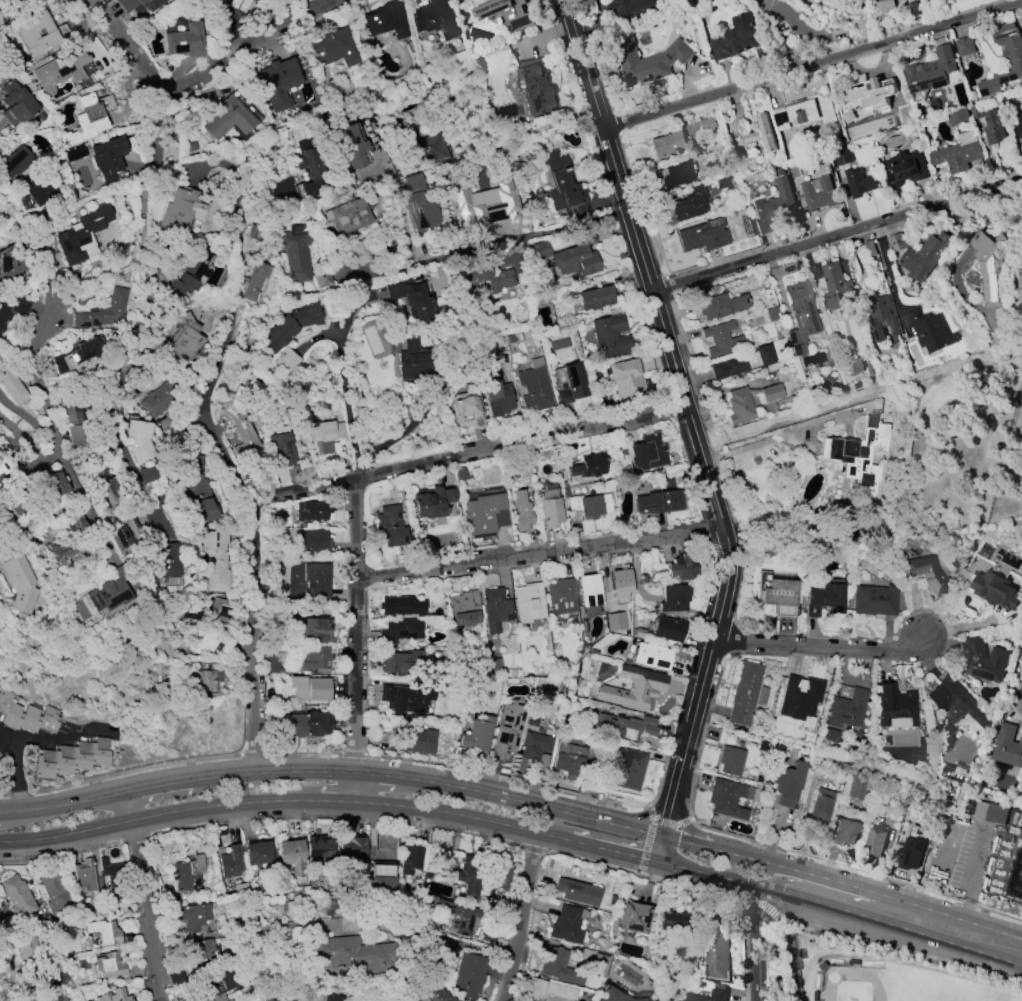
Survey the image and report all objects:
building: (1, 0)
building: (19, 2)
building: (141, 4)
building: (886, 4)
building: (238, 5)
building: (631, 9)
building: (507, 13)
building: (435, 18)
building: (385, 21)
road: (803, 29)
building: (38, 33)
building: (736, 38)
building: (184, 41)
building: (965, 47)
building: (333, 49)
building: (1014, 59)
building: (648, 60)
road: (813, 68)
building: (59, 70)
building: (930, 72)
road: (203, 77)
building: (279, 81)
building: (536, 86)
building: (871, 95)
building: (16, 103)
building: (805, 112)
building: (230, 117)
building: (958, 117)
building: (88, 119)
building: (1020, 123)
building: (993, 127)
building: (765, 134)
building: (669, 144)
building: (352, 146)
building: (427, 148)
building: (73, 153)
building: (958, 153)
building: (842, 156)
building: (108, 158)
building: (15, 162)
building: (905, 169)
building: (311, 172)
building: (676, 175)
building: (860, 184)
building: (564, 186)
building: (39, 188)
building: (819, 194)
building: (775, 200)
building: (421, 203)
building: (690, 204)
building: (474, 207)
building: (178, 209)
building: (348, 215)
building: (81, 235)
road: (523, 236)
building: (703, 236)
road: (838, 238)
building: (542, 250)
building: (296, 253)
building: (924, 256)
building: (577, 258)
building: (11, 263)
building: (988, 264)
road: (240, 270)
road: (42, 271)
building: (191, 274)
building: (324, 278)
building: (488, 278)
building: (254, 280)
building: (837, 284)
building: (411, 297)
building: (596, 298)
building: (720, 305)
building: (12, 311)
building: (102, 312)
building: (801, 315)
road: (351, 316)
building: (883, 319)
building: (292, 326)
building: (933, 332)
building: (611, 336)
building: (181, 339)
building: (721, 339)
building: (78, 354)
building: (290, 360)
building: (742, 362)
building: (416, 363)
building: (856, 366)
road: (40, 378)
building: (626, 379)
building: (571, 383)
building: (10, 385)
building: (534, 387)
building: (496, 393)
building: (162, 398)
road: (348, 406)
building: (740, 407)
building: (467, 410)
road: (205, 417)
road: (687, 417)
building: (74, 426)
road: (107, 426)
building: (243, 433)
road: (790, 435)
building: (326, 436)
road: (809, 438)
building: (140, 441)
building: (284, 449)
building: (856, 453)
building: (648, 454)
building: (586, 467)
building: (0, 472)
road: (20, 472)
building: (147, 474)
road: (339, 482)
building: (52, 485)
building: (104, 486)
building: (199, 493)
building: (432, 502)
building: (658, 503)
building: (589, 505)
building: (549, 506)
road: (82, 508)
building: (451, 509)
building: (313, 511)
building: (521, 511)
building: (485, 514)
building: (70, 525)
building: (391, 526)
building: (125, 532)
building: (314, 541)
building: (53, 553)
road: (539, 559)
building: (167, 560)
building: (216, 560)
building: (681, 568)
building: (927, 574)
building: (318, 580)
building: (619, 581)
building: (13, 584)
building: (997, 589)
building: (104, 590)
building: (589, 594)
building: (779, 596)
building: (560, 597)
building: (825, 597)
building: (674, 598)
building: (875, 600)
building: (528, 602)
building: (400, 606)
building: (464, 608)
building: (495, 609)
building: (204, 610)
building: (617, 621)
building: (315, 629)
building: (400, 631)
building: (666, 631)
building: (206, 640)
road: (355, 640)
road: (821, 650)
building: (651, 656)
building: (316, 658)
building: (984, 661)
building: (272, 662)
building: (400, 663)
building: (155, 673)
building: (205, 681)
building: (630, 687)
building: (309, 688)
building: (744, 693)
building: (406, 698)
building: (800, 698)
building: (956, 703)
building: (894, 706)
building: (846, 709)
building: (26, 715)
building: (628, 726)
building: (286, 728)
building: (507, 730)
road: (4, 734)
building: (476, 734)
building: (829, 735)
road: (25, 740)
building: (413, 742)
building: (1008, 747)
building: (536, 749)
building: (0, 758)
building: (70, 758)
building: (570, 760)
building: (730, 760)
building: (629, 768)
building: (957, 774)
road: (395, 778)
building: (857, 782)
building: (788, 783)
building: (726, 798)
building: (821, 806)
road: (395, 807)
road: (62, 808)
road: (127, 808)
road: (654, 813)
building: (991, 813)
road: (685, 819)
building: (845, 832)
road: (65, 837)
traffic signals: (662, 838)
building: (876, 842)
building: (317, 848)
building: (350, 850)
road: (659, 851)
building: (258, 853)
building: (913, 853)
building: (290, 856)
building: (408, 860)
building: (230, 862)
traffic signals: (656, 864)
building: (188, 874)
building: (470, 874)
building: (84, 876)
road: (976, 877)
building: (1015, 877)
building: (378, 881)
road: (842, 886)
building: (577, 891)
building: (55, 894)
building: (17, 897)
road: (855, 898)
road: (149, 912)
road: (839, 912)
building: (193, 916)
building: (456, 916)
road: (521, 917)
building: (635, 917)
building: (674, 921)
building: (568, 924)
building: (102, 932)
building: (25, 945)
road: (764, 946)
building: (204, 949)
building: (715, 951)
building: (350, 954)
building: (109, 965)
building: (558, 967)
building: (467, 975)
building: (216, 983)
park: (893, 985)
building: (547, 991)
building: (436, 994)
building: (711, 994)
building: (114, 996)
building: (616, 996)
building: (274, 997)
building: (47, 999)
building: (329, 999)

